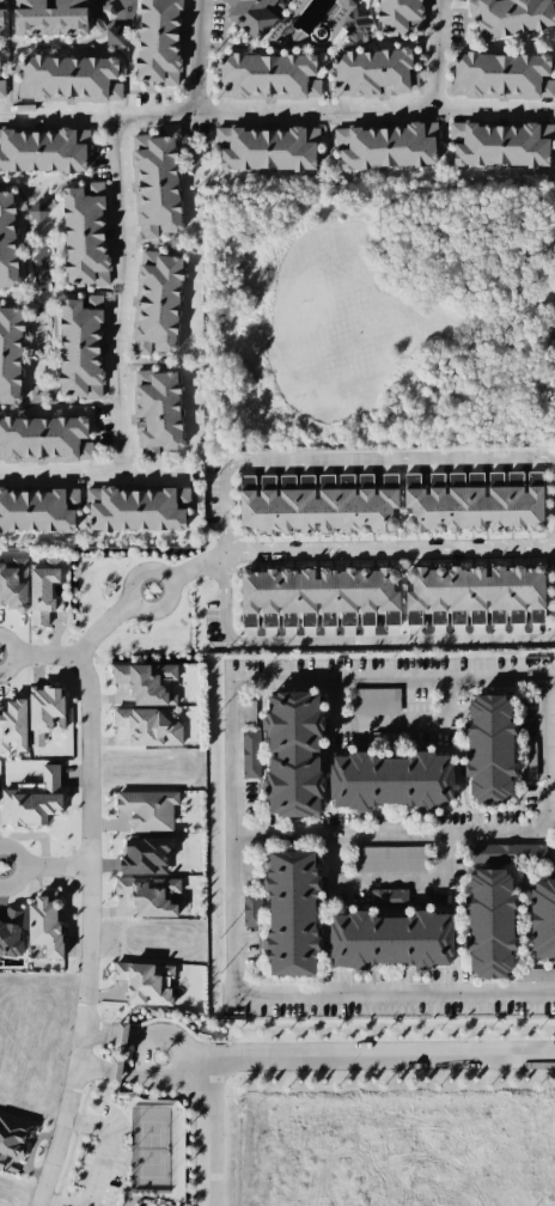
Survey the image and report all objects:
road: (440, 54)
road: (196, 57)
road: (275, 111)
building: (203, 202)
road: (121, 298)
road: (349, 461)
road: (94, 479)
building: (365, 480)
building: (411, 480)
building: (297, 481)
building: (476, 501)
building: (317, 506)
road: (553, 543)
road: (553, 547)
road: (388, 549)
road: (196, 565)
road: (169, 578)
building: (13, 581)
building: (472, 589)
building: (43, 591)
building: (316, 596)
building: (507, 616)
building: (536, 616)
building: (438, 617)
building: (457, 617)
building: (477, 617)
building: (347, 619)
building: (367, 619)
road: (103, 626)
road: (350, 640)
road: (13, 657)
road: (47, 657)
building: (147, 682)
road: (242, 683)
building: (373, 701)
building: (554, 711)
building: (45, 713)
road: (394, 721)
building: (13, 724)
building: (148, 726)
building: (489, 748)
building: (554, 753)
building: (249, 754)
building: (293, 754)
building: (529, 760)
building: (390, 780)
building: (33, 799)
building: (150, 809)
road: (461, 829)
building: (506, 853)
building: (145, 854)
building: (389, 859)
road: (44, 866)
road: (392, 879)
building: (389, 896)
building: (250, 909)
building: (292, 913)
building: (542, 919)
building: (490, 922)
building: (45, 924)
building: (11, 932)
road: (87, 933)
building: (391, 939)
building: (537, 975)
building: (146, 982)
road: (396, 994)
road: (110, 1030)
road: (176, 1037)
building: (118, 1052)
road: (380, 1059)
road: (144, 1074)
road: (207, 1134)
building: (12, 1138)
road: (99, 1169)

